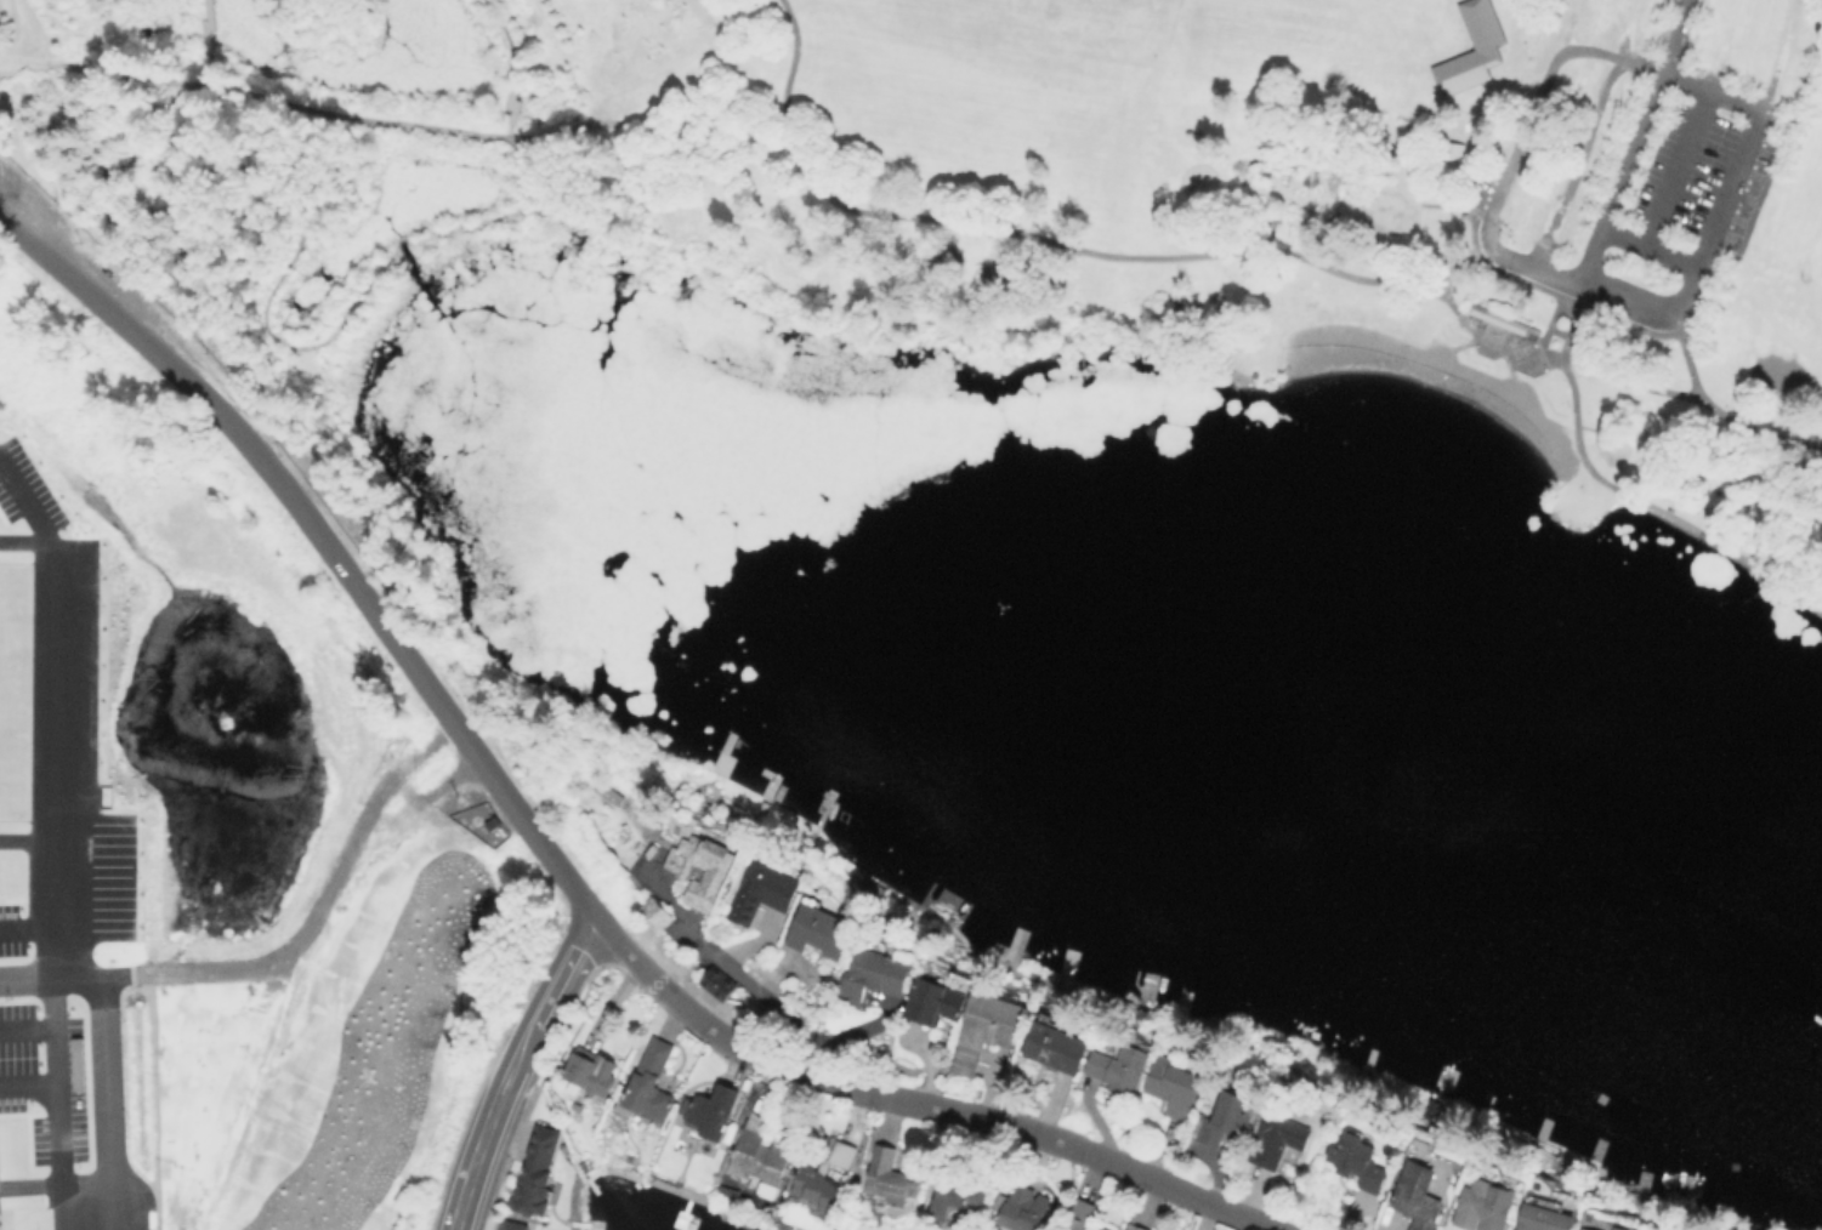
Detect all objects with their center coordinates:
building: (1809, 12)
road: (1566, 24)
road: (1625, 28)
road: (503, 32)
road: (206, 42)
road: (1724, 44)
building: (1488, 47)
road: (1600, 51)
road: (1778, 56)
road: (96, 68)
road: (645, 80)
road: (1804, 81)
road: (1713, 89)
road: (507, 104)
road: (1634, 141)
building: (1451, 146)
road: (1516, 150)
building: (1392, 153)
parking lot: (1563, 155)
road: (1576, 159)
road: (1679, 164)
parking lot: (1701, 175)
building: (1310, 177)
road: (1729, 186)
road: (1360, 200)
park: (976, 224)
road: (1311, 228)
road: (1650, 241)
road: (1073, 246)
road: (405, 250)
road: (1460, 261)
road: (1527, 261)
road: (1652, 307)
building: (1499, 318)
road: (1468, 342)
road: (1509, 359)
park: (1778, 376)
road: (1628, 381)
road: (1718, 408)
road: (1624, 490)
road: (63, 842)
road: (545, 852)
building: (716, 872)
building: (764, 892)
building: (658, 911)
road: (313, 922)
road: (32, 928)
building: (822, 930)
building: (874, 974)
building: (716, 983)
road: (756, 993)
building: (935, 1001)
road: (25, 1029)
building: (986, 1030)
building: (1055, 1048)
road: (106, 1060)
road: (511, 1066)
building: (1120, 1067)
building: (591, 1069)
road: (28, 1083)
building: (649, 1086)
building: (1174, 1087)
building: (714, 1111)
building: (1227, 1120)
building: (1278, 1139)
building: (759, 1157)
building: (1358, 1161)
building: (537, 1175)
building: (822, 1175)
building: (889, 1178)
building: (1417, 1196)
building: (957, 1198)
building: (1542, 1202)
building: (0, 1203)
building: (1480, 1207)
building: (1017, 1209)
building: (1078, 1215)
building: (1543, 1218)
building: (511, 1226)
building: (1134, 1228)
building: (1618, 1228)
building: (1582, 1229)

